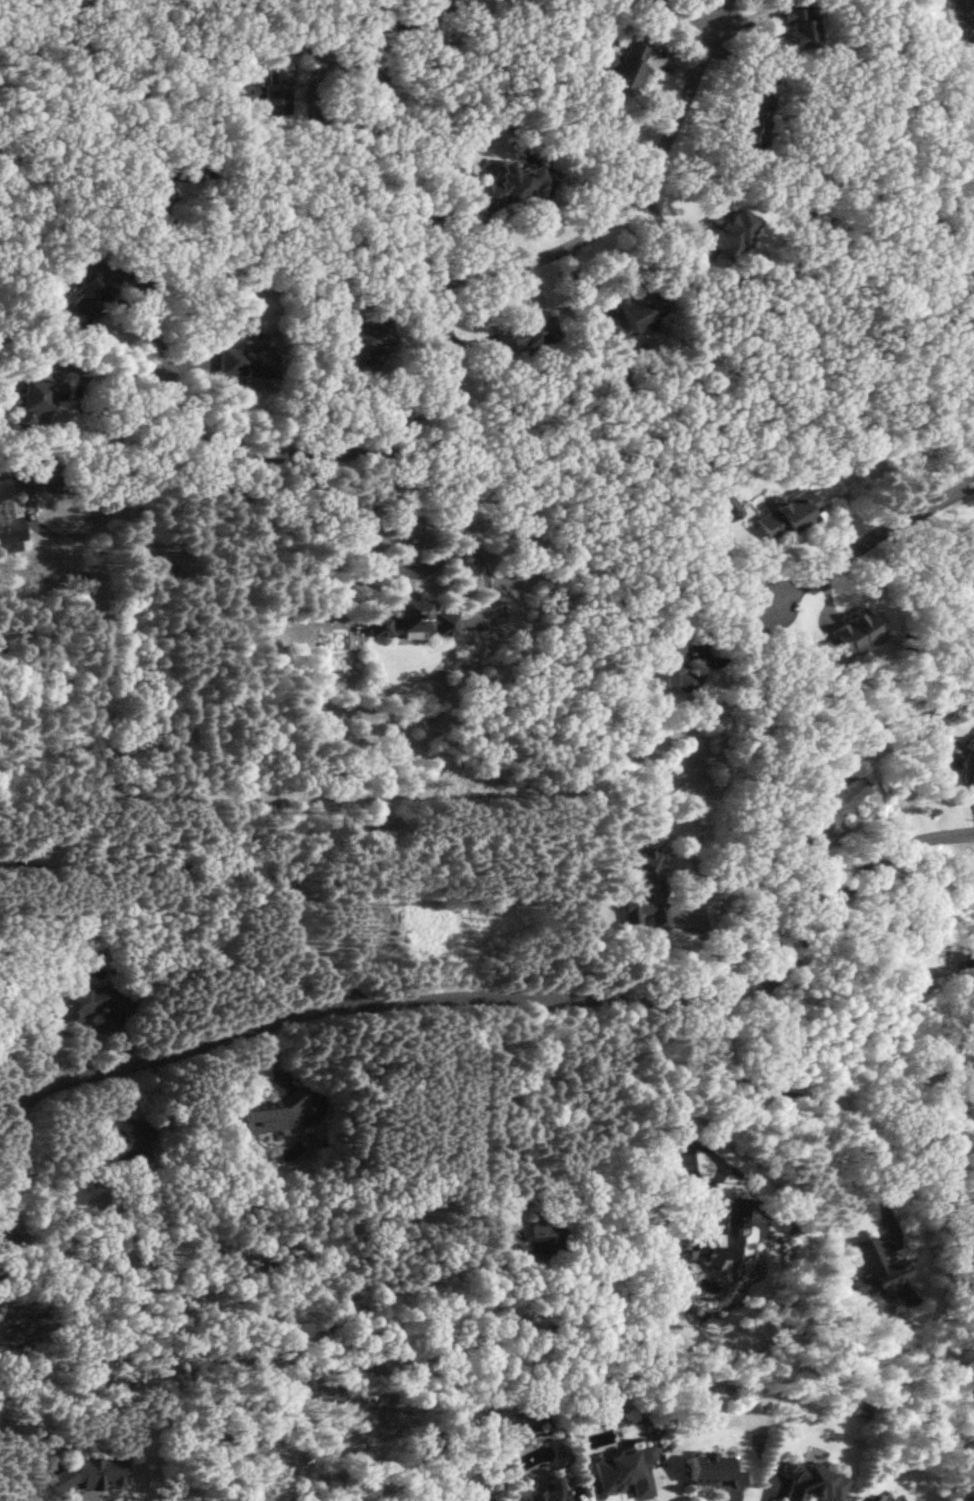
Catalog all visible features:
road: (116, 0)
road: (973, 4)
building: (798, 23)
building: (625, 64)
road: (959, 71)
building: (273, 93)
building: (750, 120)
road: (299, 174)
building: (507, 185)
road: (626, 205)
building: (727, 231)
building: (85, 300)
building: (636, 307)
building: (524, 334)
building: (367, 341)
building: (244, 363)
road: (104, 369)
building: (36, 400)
road: (426, 402)
road: (202, 440)
building: (726, 503)
building: (787, 515)
building: (10, 520)
road: (870, 540)
road: (449, 544)
road: (481, 581)
building: (406, 623)
building: (673, 663)
building: (968, 761)
building: (834, 802)
building: (645, 890)
road: (710, 946)
building: (962, 958)
road: (970, 976)
road: (513, 993)
building: (85, 997)
road: (118, 1038)
road: (813, 1096)
building: (272, 1116)
road: (680, 1131)
building: (126, 1142)
road: (18, 1151)
road: (3, 1201)
road: (3, 1210)
road: (4, 1234)
building: (528, 1238)
building: (881, 1275)
road: (32, 1412)
building: (719, 1471)
building: (627, 1472)
building: (85, 1475)
building: (815, 1484)
building: (546, 1493)
building: (883, 1499)

